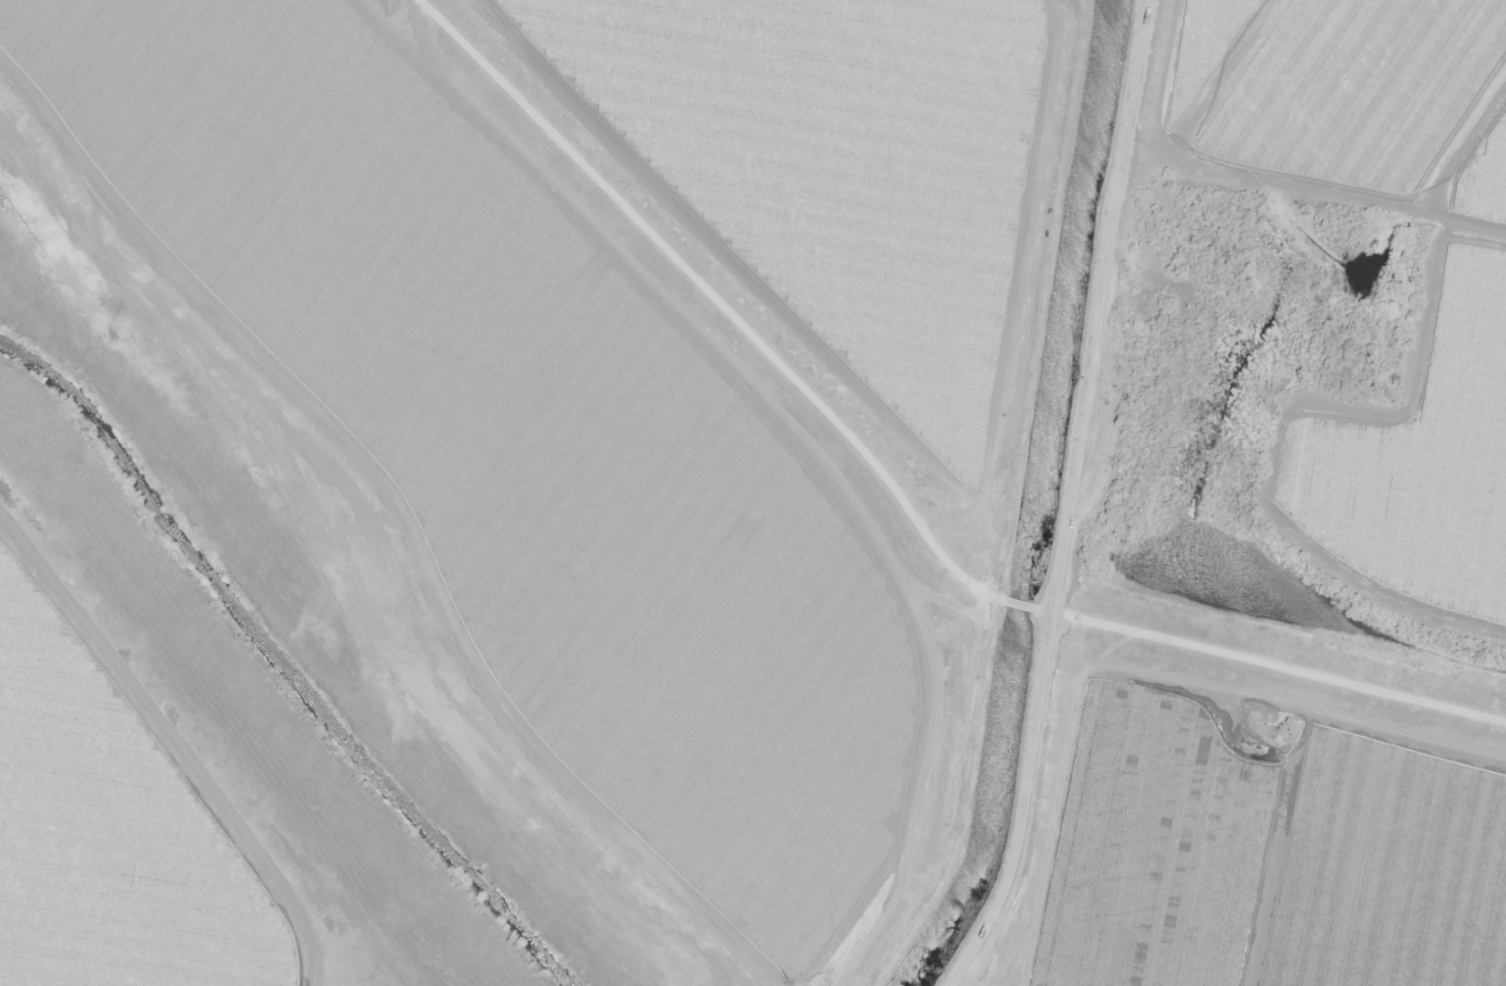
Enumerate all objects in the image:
road: (1336, 196)
road: (739, 290)
road: (1095, 495)
road: (1025, 606)
road: (1275, 663)
road: (952, 799)
road: (242, 895)

